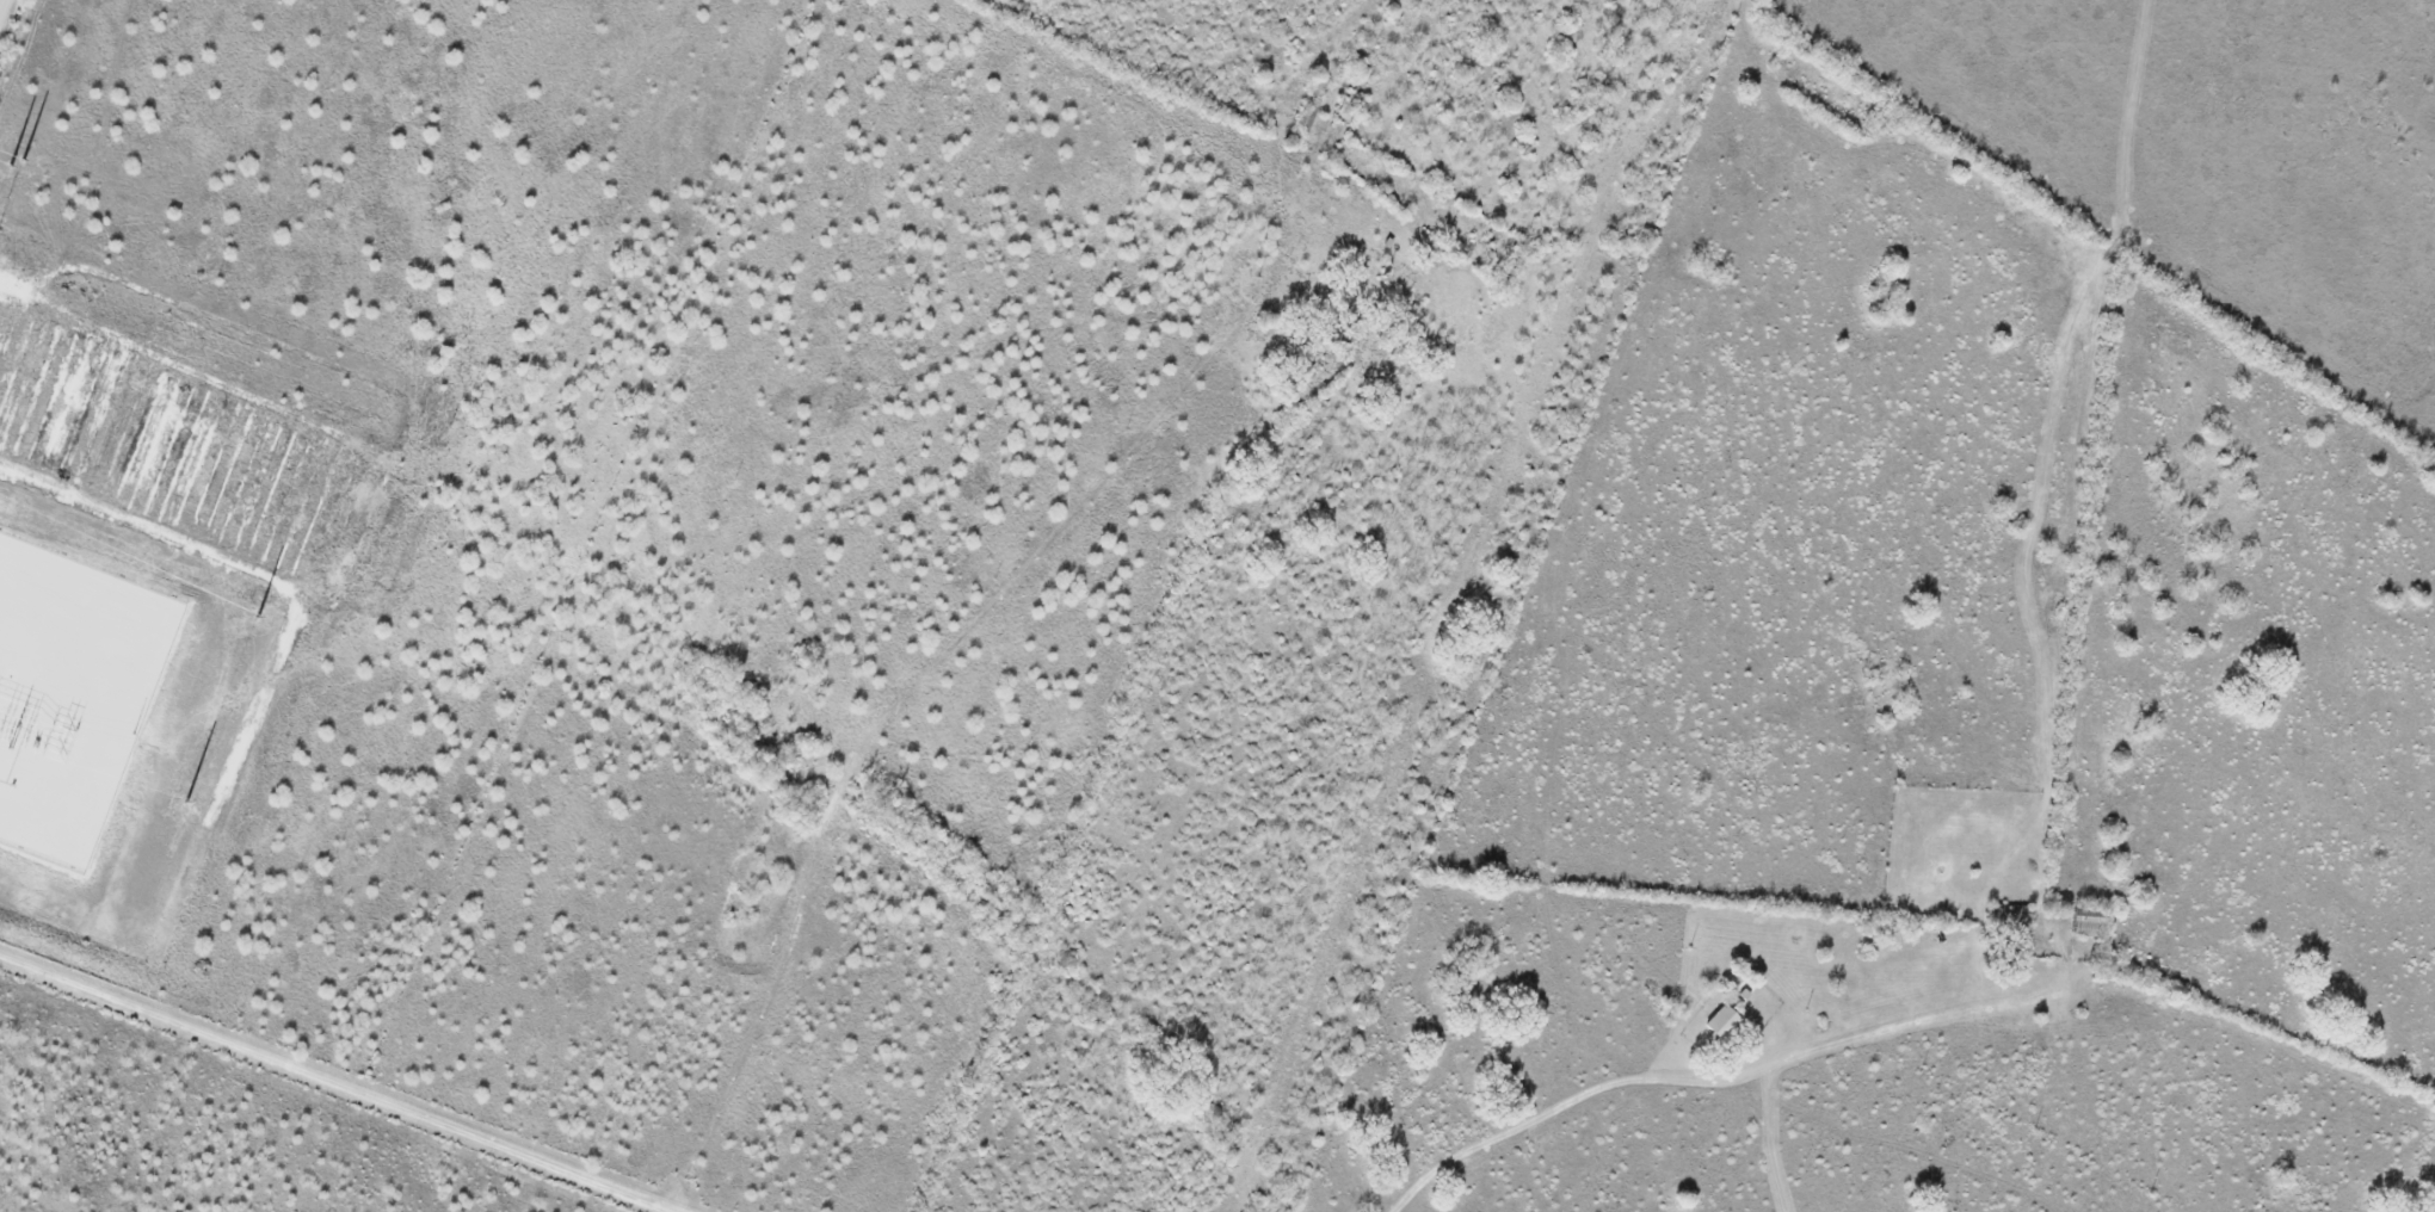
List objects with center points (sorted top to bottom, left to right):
road: (1, 5)
building: (1311, 107)
building: (2012, 911)
building: (2086, 920)
building: (1722, 1022)
road: (337, 1083)

